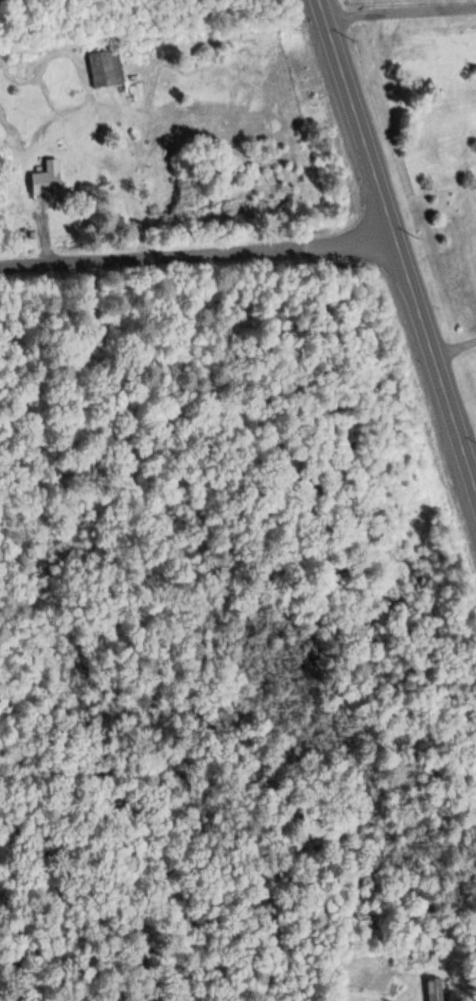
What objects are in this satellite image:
road: (400, 12)
road: (396, 247)
road: (197, 253)
road: (453, 346)

